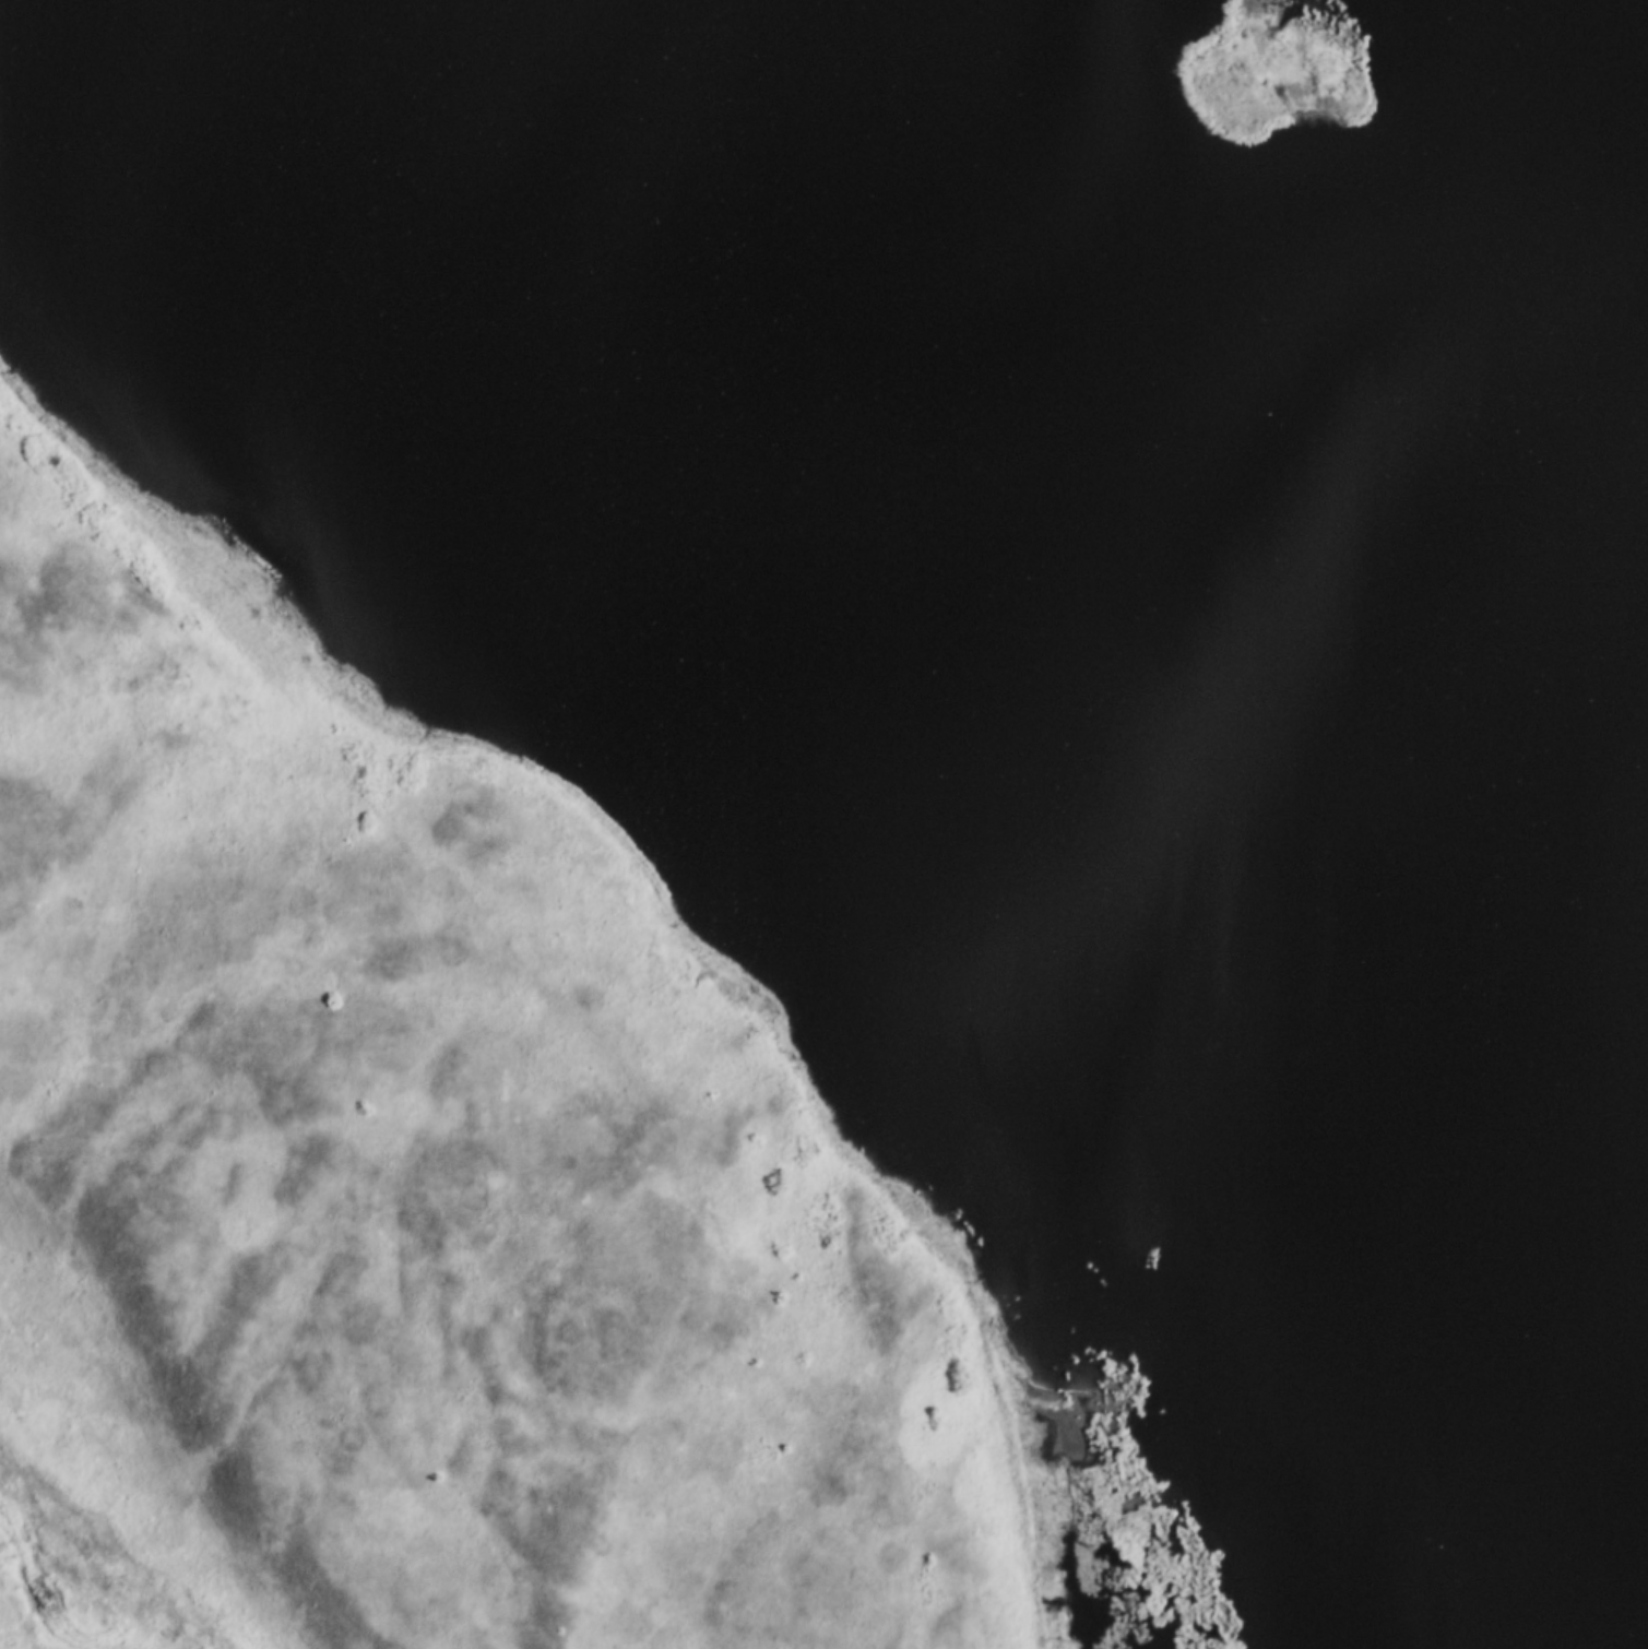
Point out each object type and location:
river: (33, 1583)

